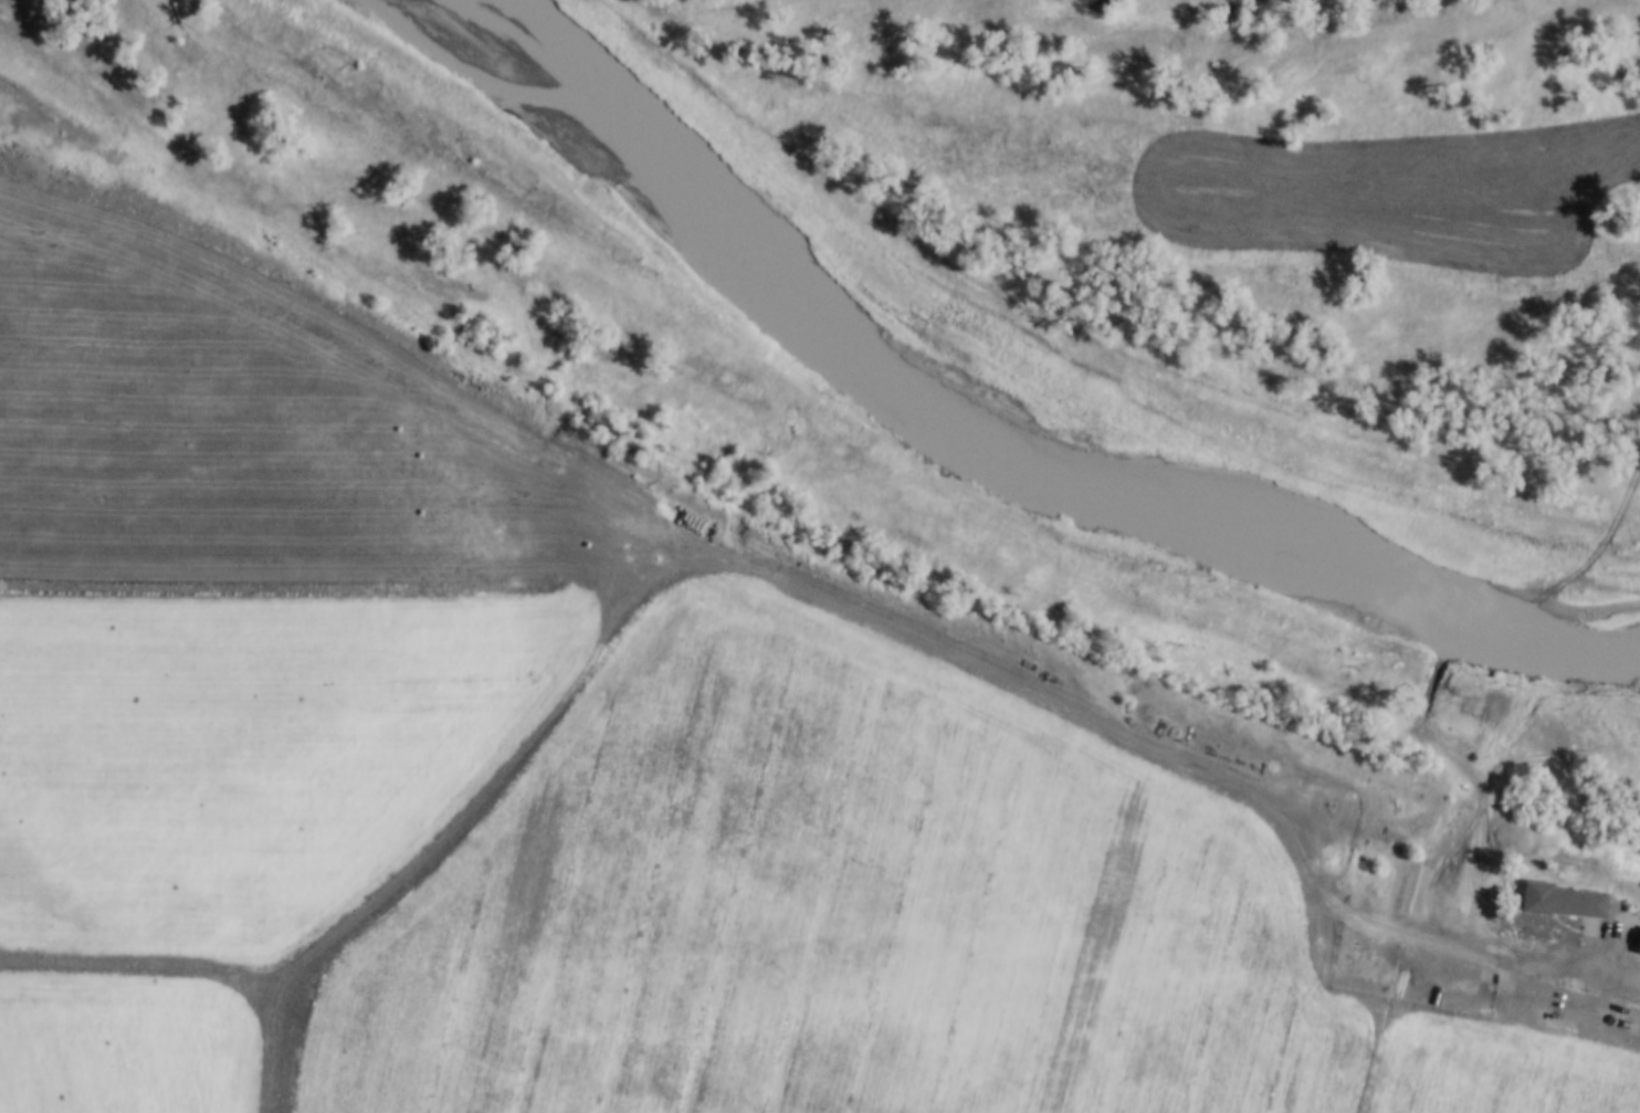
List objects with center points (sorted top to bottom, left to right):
river: (994, 449)
road: (1155, 747)
building: (1563, 902)
road: (1604, 964)

